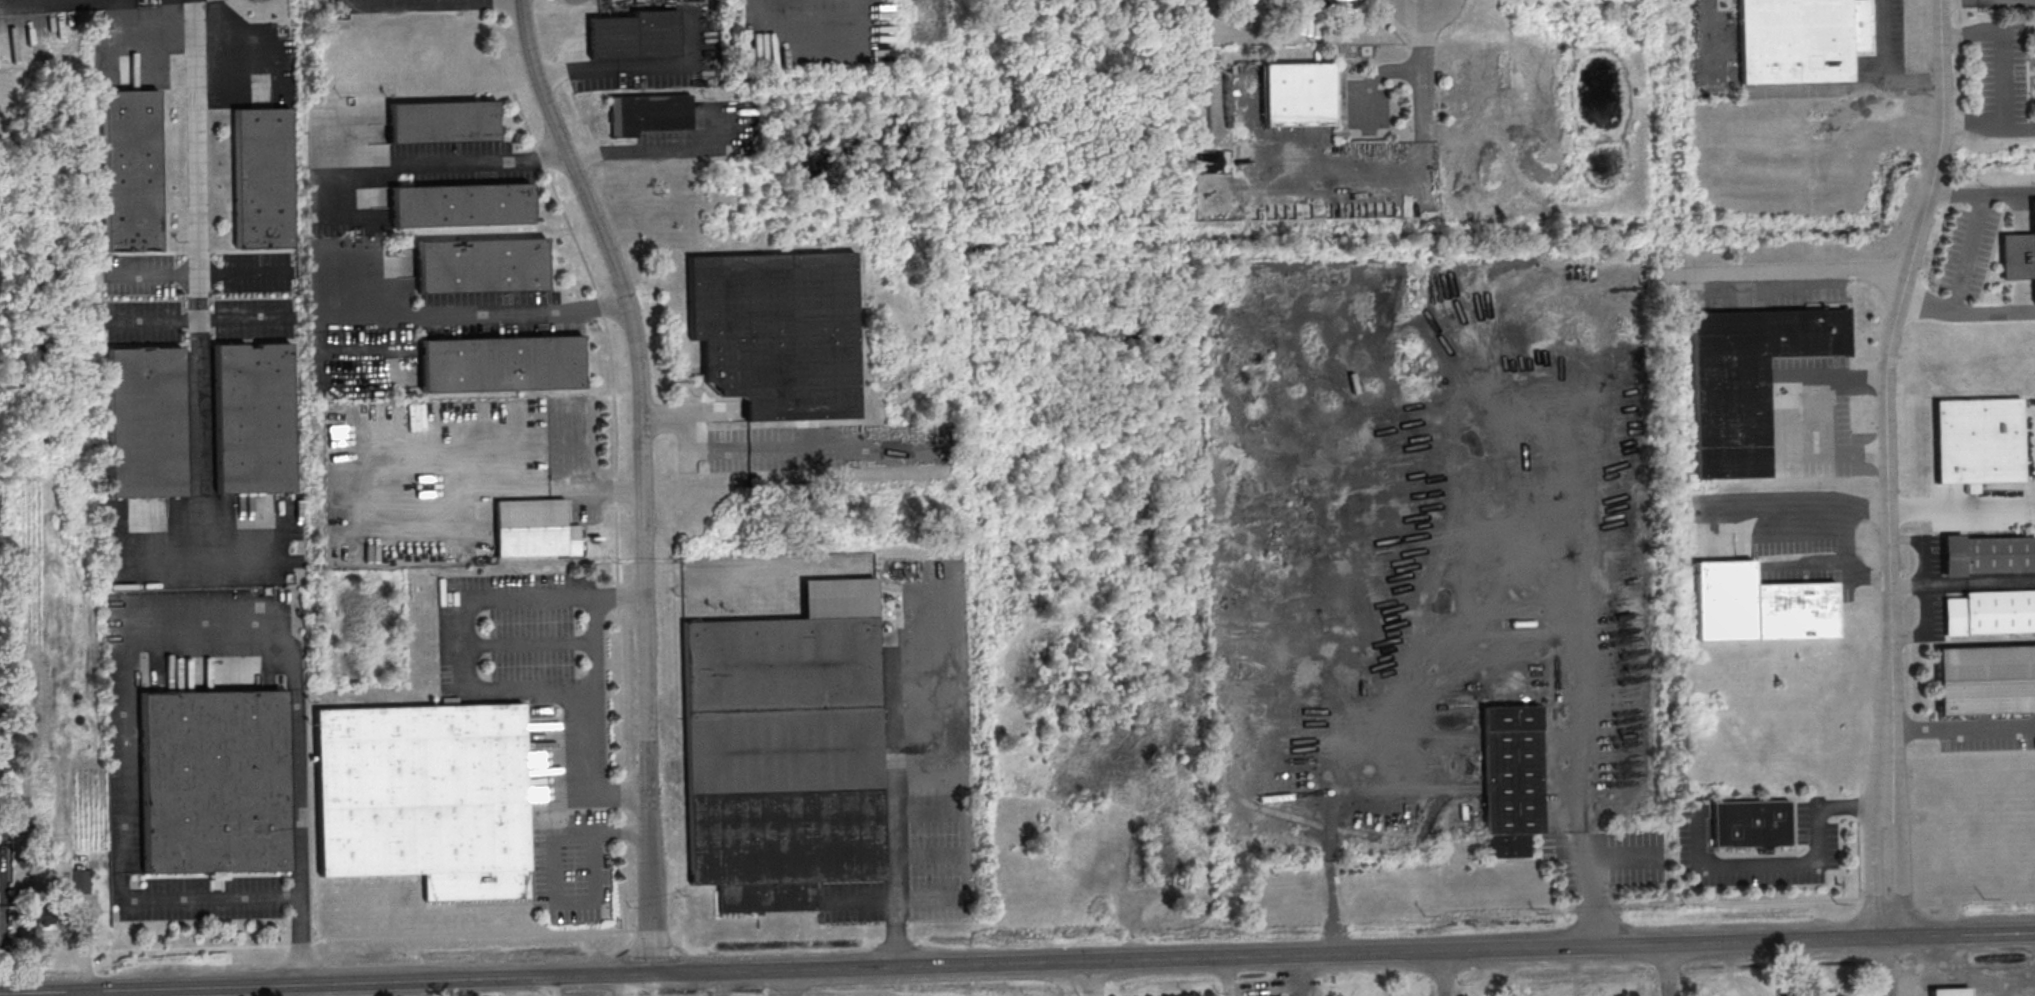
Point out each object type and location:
road: (431, 1)
road: (1950, 1)
building: (634, 34)
building: (1801, 39)
road: (1884, 43)
road: (605, 65)
road: (2001, 79)
road: (1775, 90)
building: (1297, 95)
building: (648, 113)
road: (582, 118)
building: (442, 122)
road: (653, 151)
road: (447, 164)
building: (130, 171)
road: (1403, 172)
building: (262, 178)
road: (1981, 193)
road: (1980, 199)
building: (460, 204)
road: (1966, 250)
building: (2018, 253)
building: (481, 265)
road: (242, 271)
road: (1777, 273)
road: (155, 275)
road: (591, 280)
road: (198, 286)
road: (1952, 303)
road: (1966, 310)
road: (475, 315)
building: (776, 332)
building: (501, 364)
building: (1747, 379)
road: (1883, 398)
road: (704, 413)
road: (661, 417)
building: (253, 418)
building: (145, 423)
building: (1978, 440)
road: (791, 448)
road: (639, 476)
road: (552, 487)
road: (615, 492)
road: (1807, 497)
road: (1960, 508)
building: (534, 528)
building: (1987, 554)
road: (1842, 556)
road: (1907, 582)
road: (1926, 587)
building: (1759, 606)
building: (1990, 611)
road: (617, 643)
road: (526, 645)
road: (457, 647)
road: (295, 669)
road: (595, 673)
building: (1986, 681)
road: (1961, 730)
building: (784, 751)
building: (1510, 778)
building: (213, 782)
road: (1860, 788)
road: (621, 792)
road: (621, 794)
building: (424, 796)
road: (896, 799)
road: (1850, 804)
road: (1858, 807)
road: (621, 814)
road: (1572, 825)
building: (1750, 825)
road: (622, 832)
road: (120, 861)
road: (1762, 864)
road: (1904, 866)
road: (1872, 868)
road: (552, 873)
building: (81, 881)
road: (623, 885)
road: (1774, 900)
road: (1593, 907)
road: (1570, 909)
building: (40, 915)
road: (642, 929)
road: (472, 934)
road: (300, 940)
road: (300, 944)
road: (200, 947)
road: (1017, 962)
road: (1886, 966)
road: (1664, 970)
road: (1442, 973)
road: (1298, 975)
road: (1225, 976)
road: (1092, 978)
road: (792, 982)
road: (712, 983)
road: (628, 984)
road: (551, 986)
road: (1261, 987)
road: (1225, 992)
building: (1829, 993)
building: (1950, 993)
road: (44, 994)
road: (79, 994)

